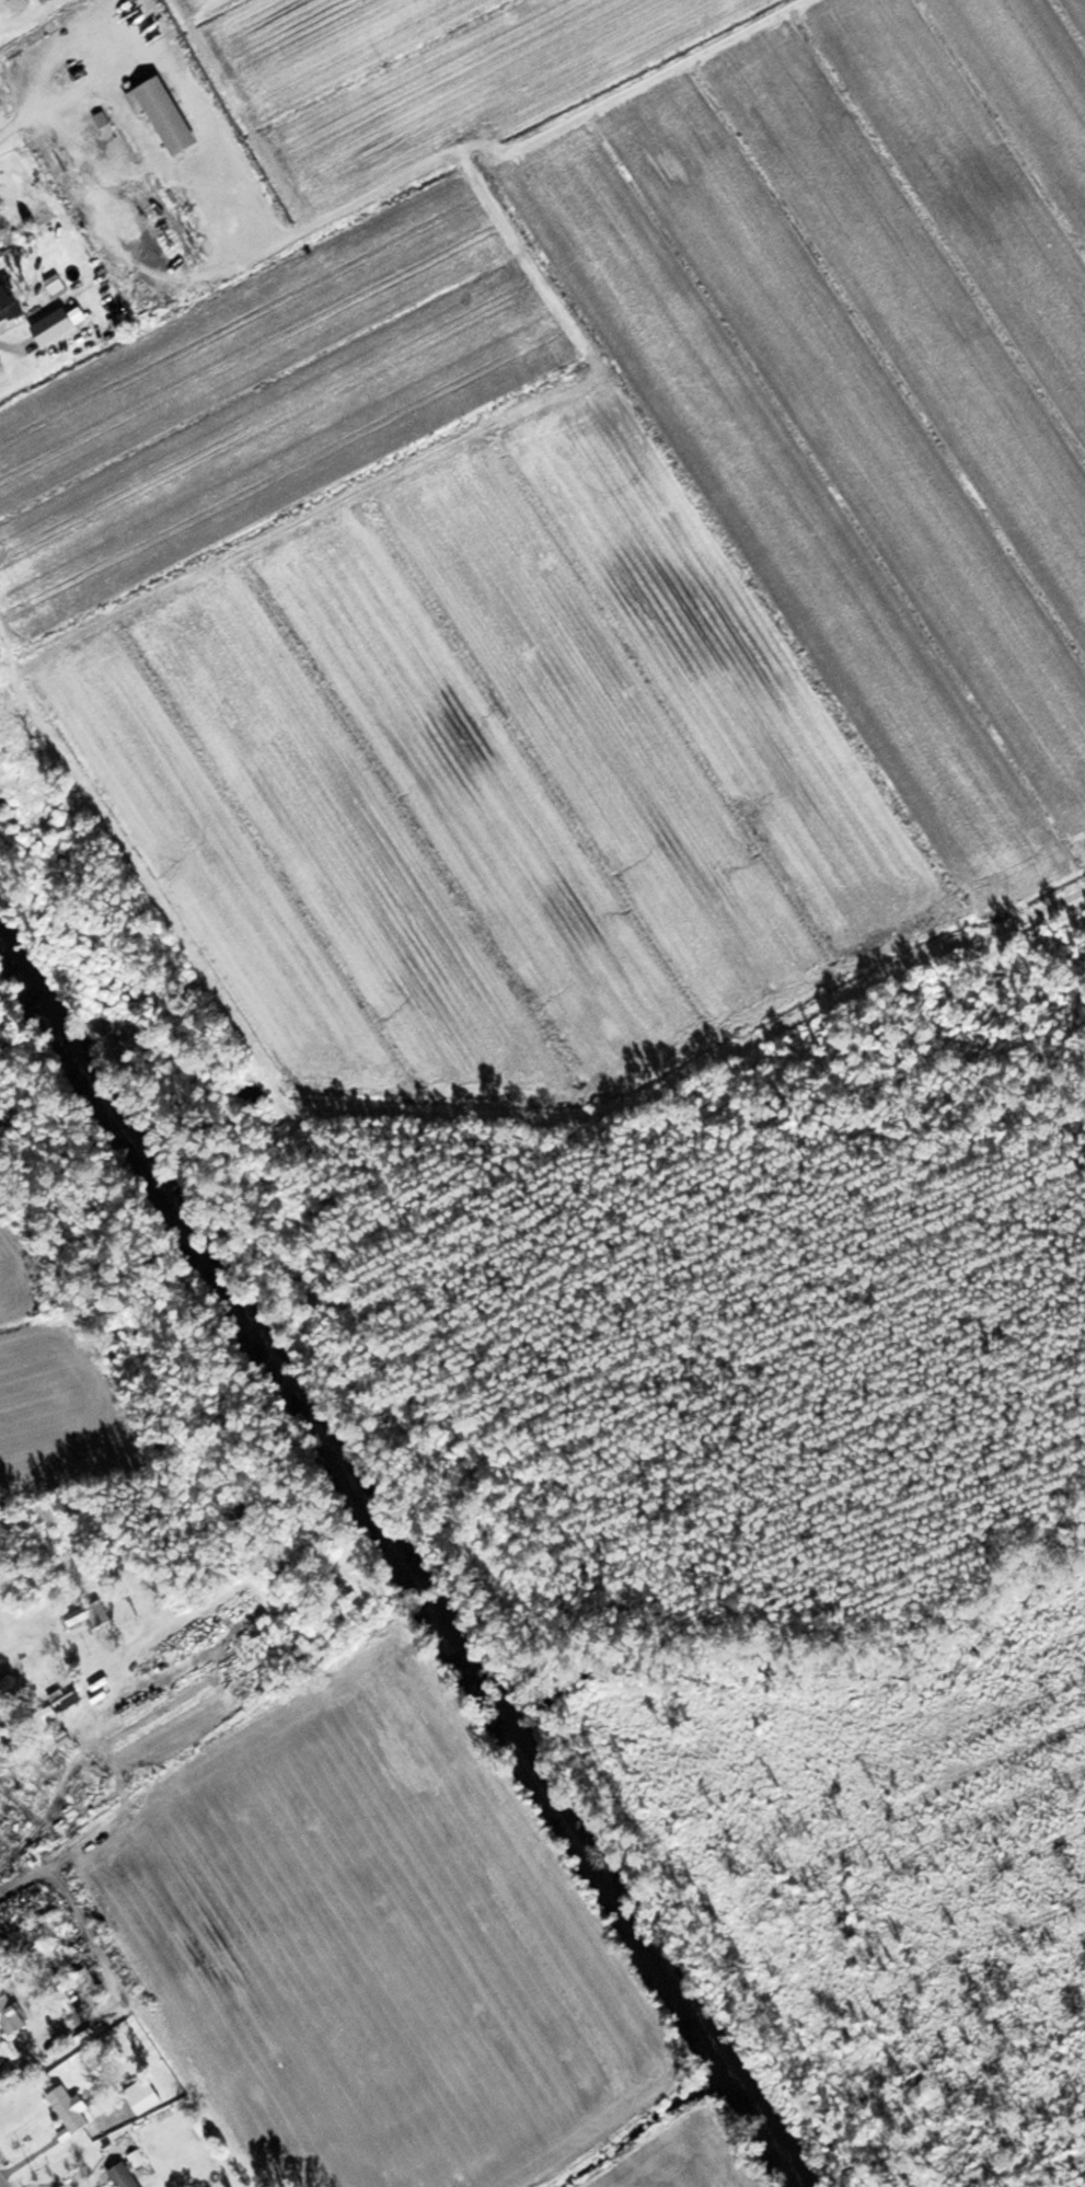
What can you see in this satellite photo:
building: (14, 8)
building: (170, 114)
building: (46, 203)
building: (12, 301)
building: (53, 1517)
building: (92, 1618)
building: (65, 1696)
building: (7, 1956)
building: (12, 2014)
building: (148, 2095)
building: (72, 2109)
building: (128, 2176)
road: (2, 2182)

